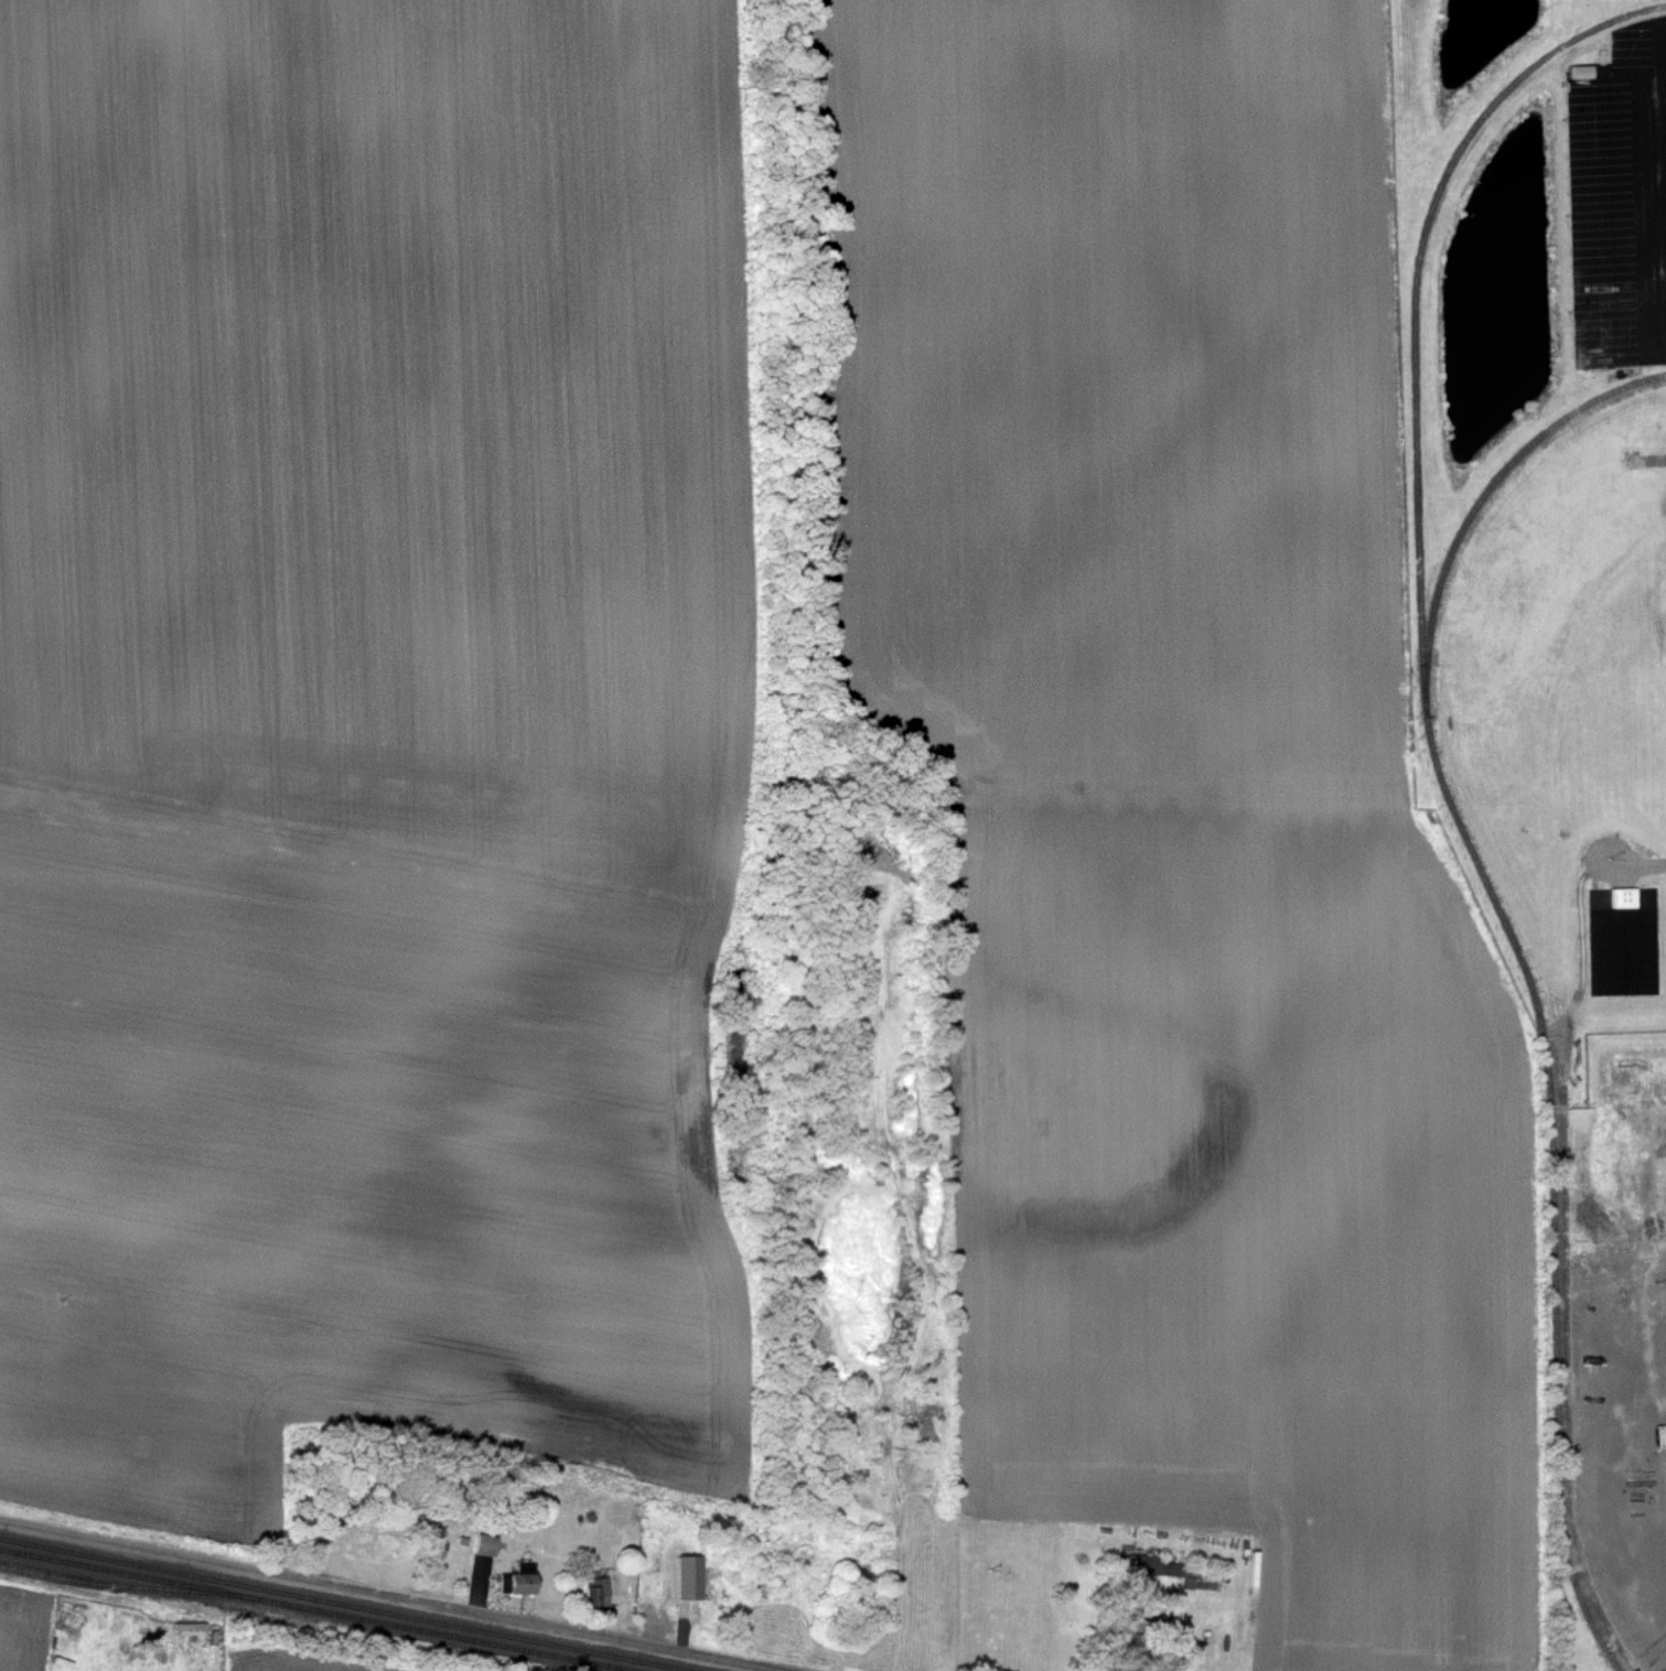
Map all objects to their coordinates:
railway: (1481, 500)
railway: (1444, 793)
building: (1624, 898)
building: (487, 1544)
building: (1175, 1571)
building: (861, 1578)
building: (520, 1580)
building: (761, 1583)
building: (596, 1592)
road: (391, 1596)
railway: (343, 1602)
railway: (314, 1609)
building: (1132, 1628)
building: (1205, 1636)

